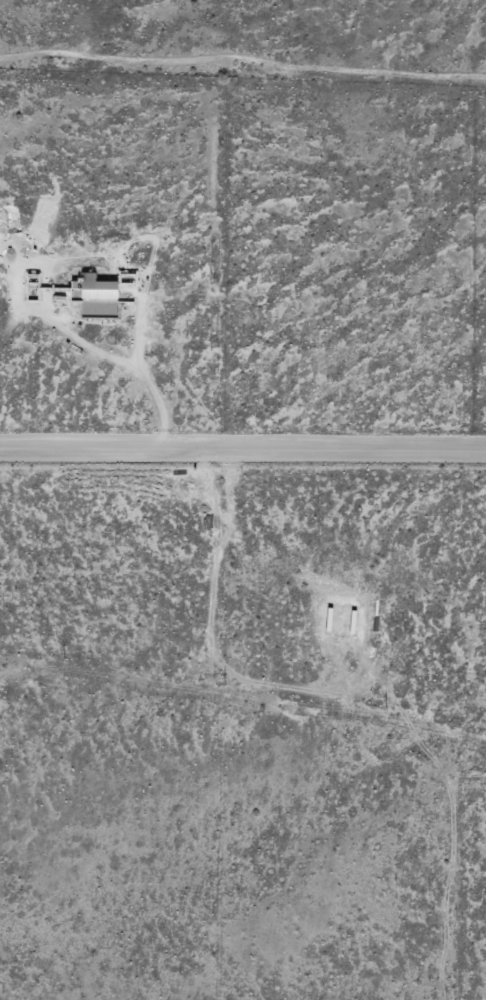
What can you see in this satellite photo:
building: (99, 289)
road: (242, 458)

